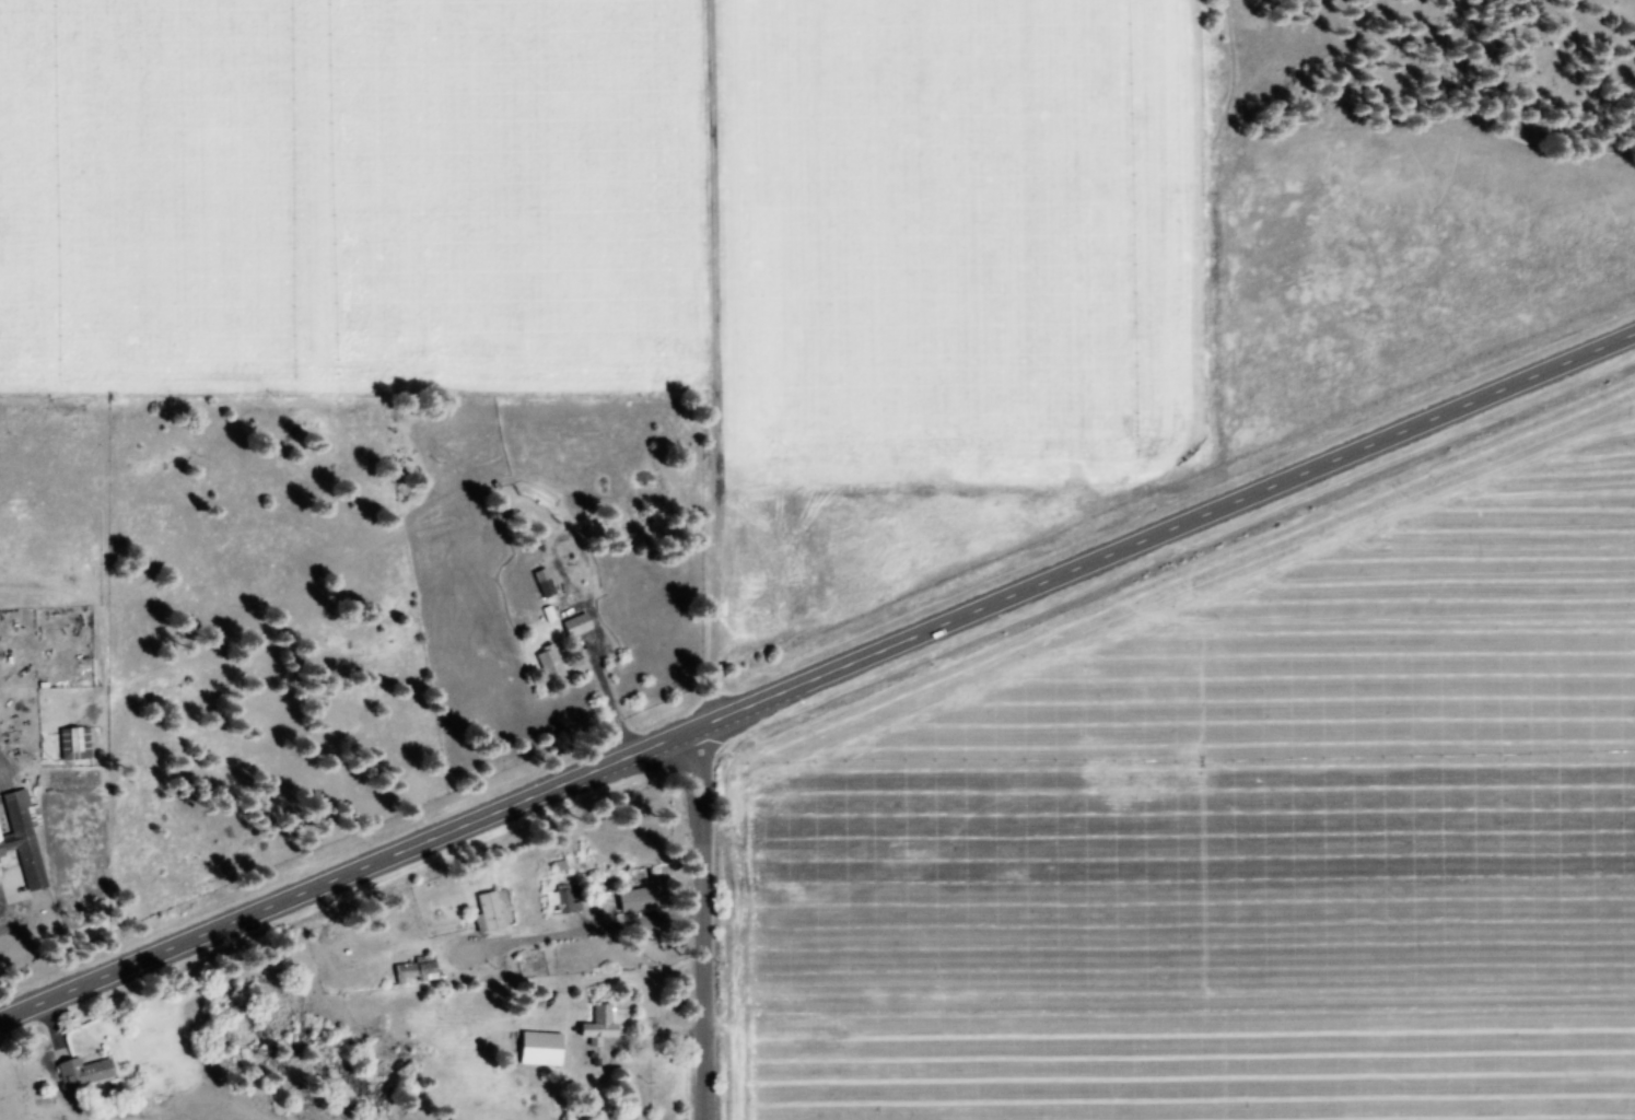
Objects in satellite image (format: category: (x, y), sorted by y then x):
building: (546, 584)
building: (579, 626)
building: (551, 664)
road: (816, 684)
building: (77, 745)
building: (25, 840)
building: (644, 901)
building: (564, 902)
building: (491, 914)
road: (704, 926)
building: (418, 970)
building: (603, 1028)
building: (544, 1050)
building: (85, 1074)

